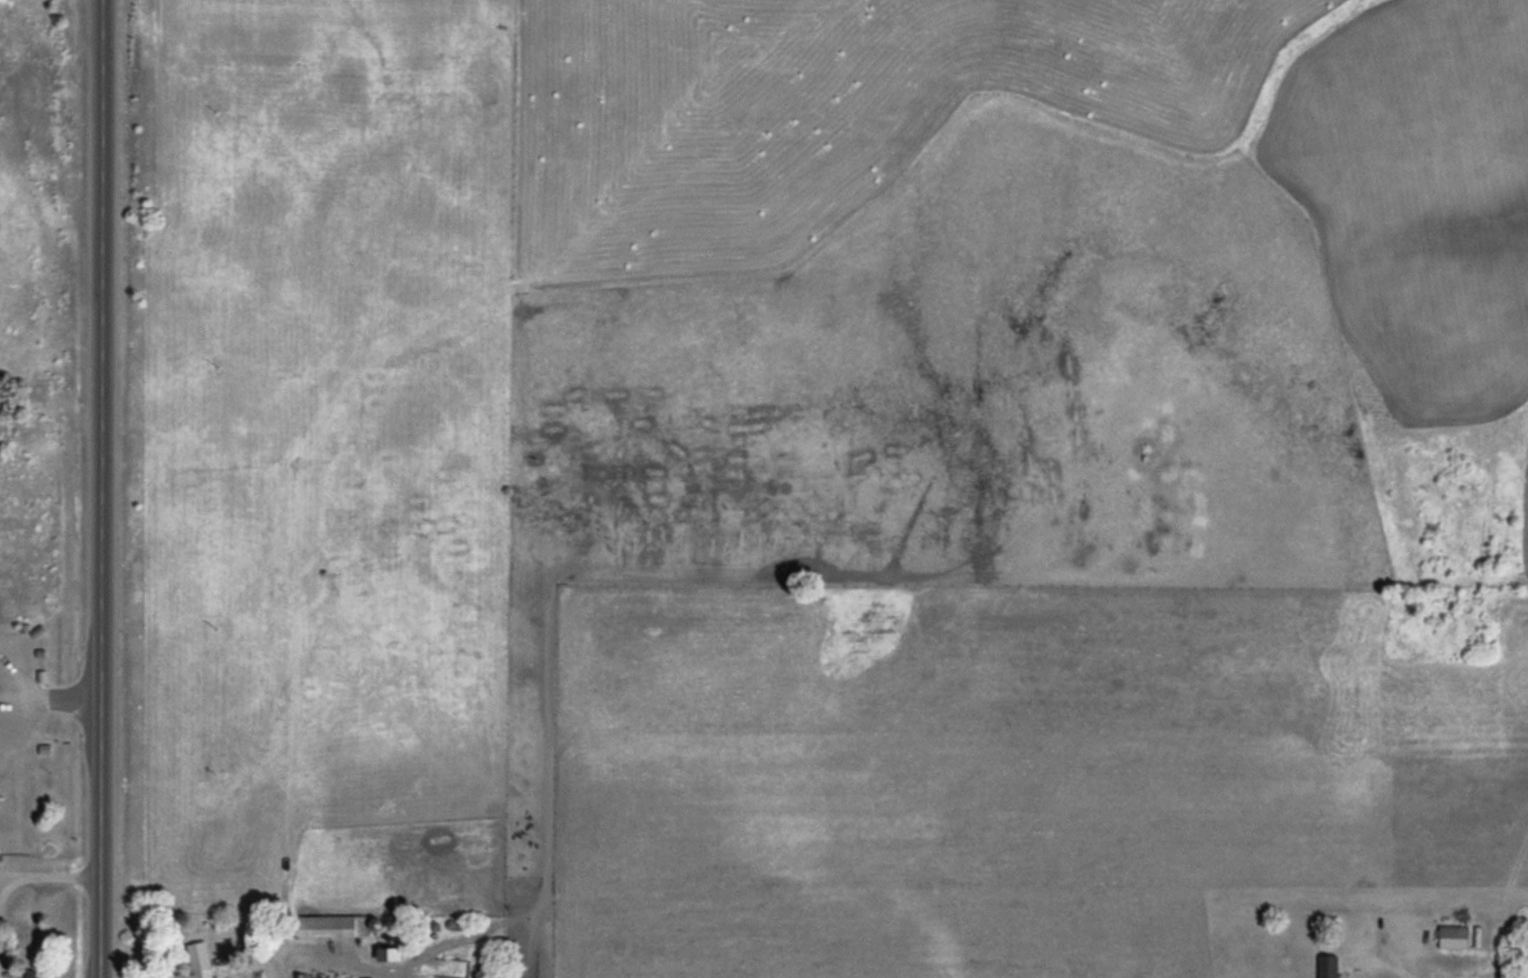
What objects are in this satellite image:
road: (104, 488)
road: (59, 700)
building: (334, 925)
building: (1456, 936)
building: (190, 963)
building: (1344, 965)
building: (300, 976)

